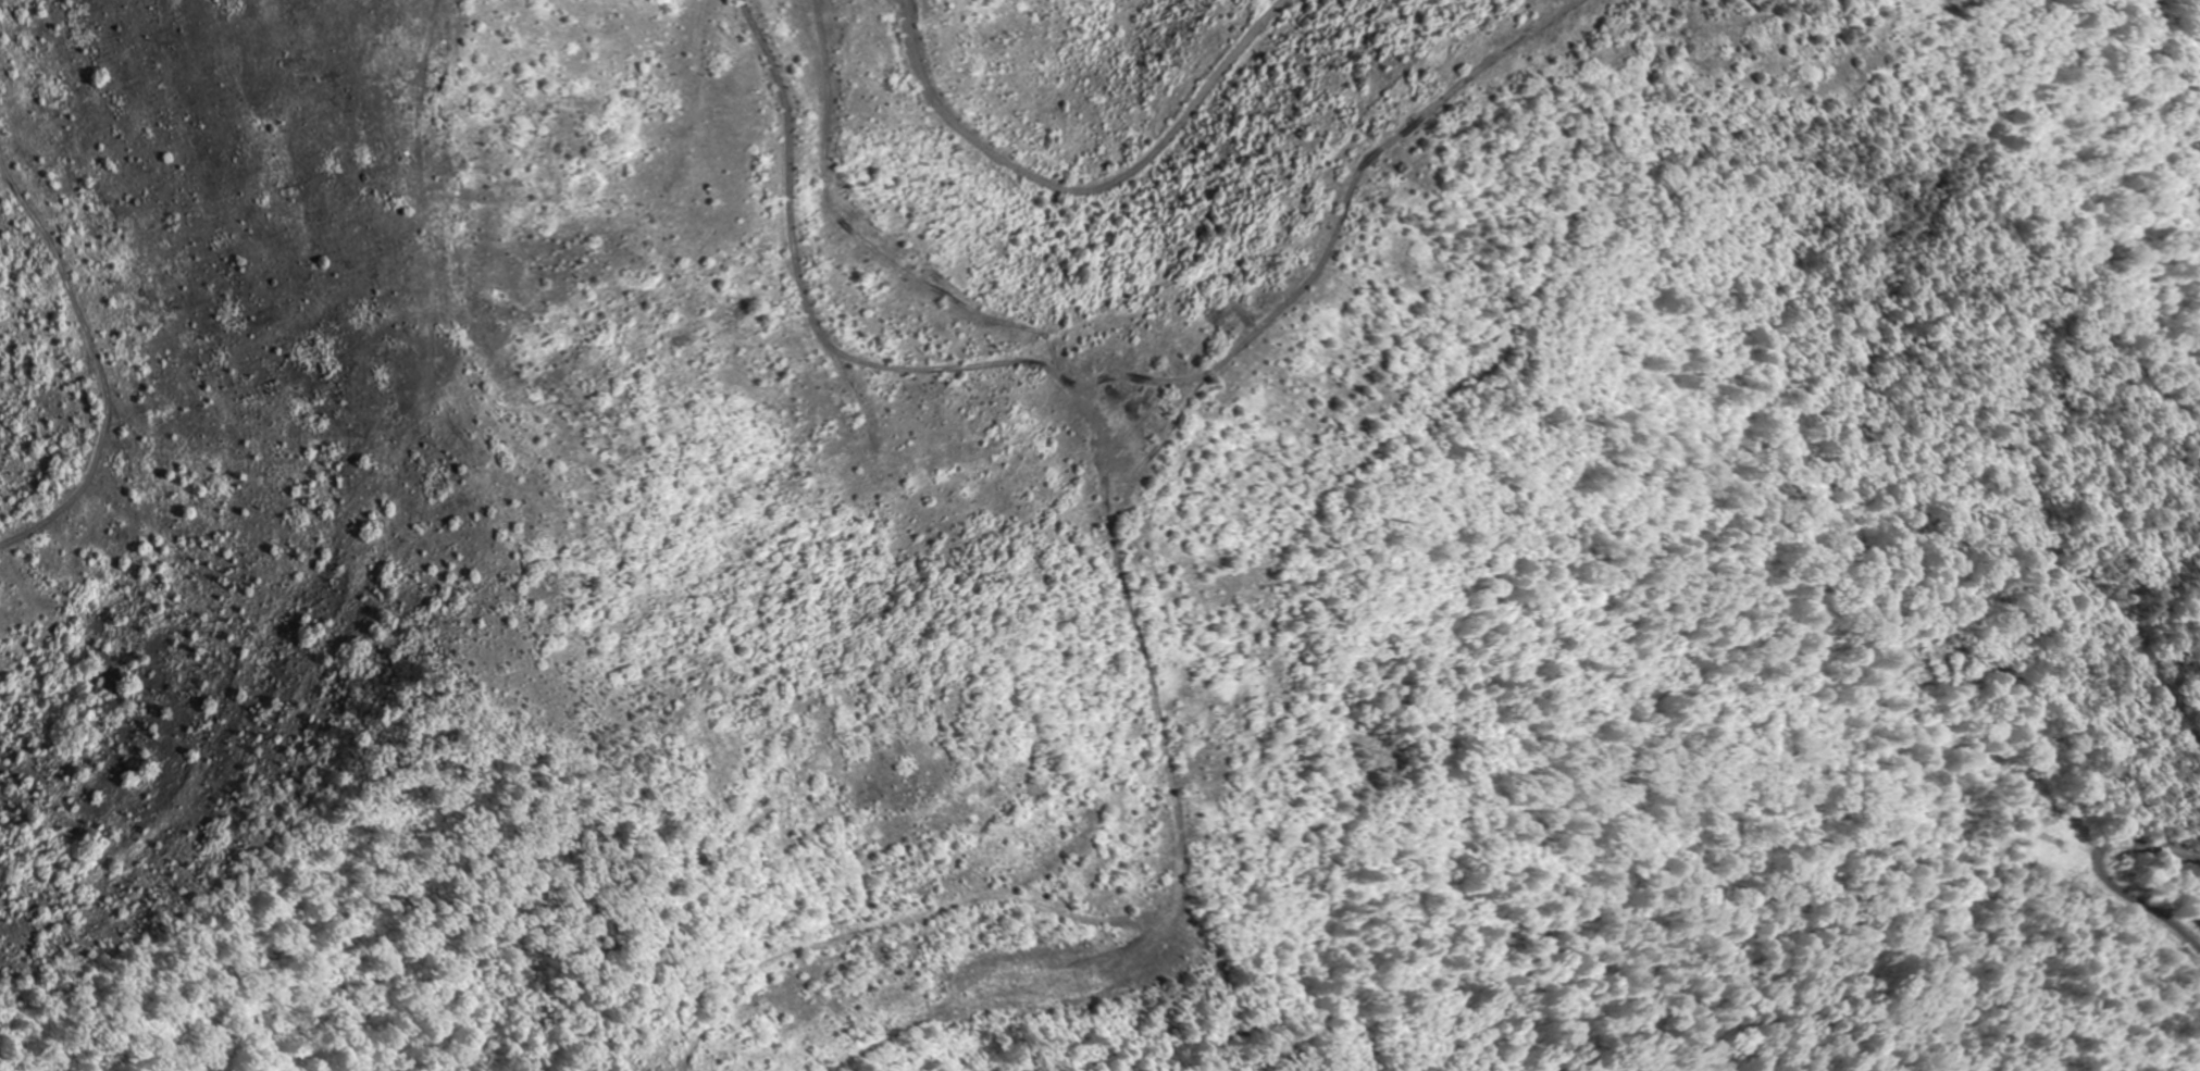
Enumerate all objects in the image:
building: (2054, 834)
road: (2118, 845)

